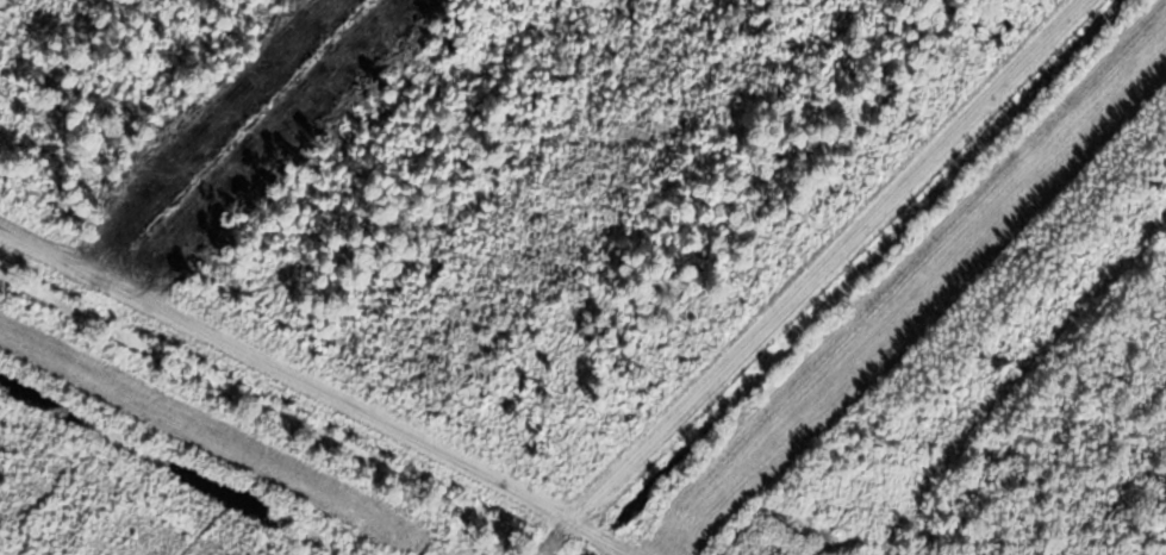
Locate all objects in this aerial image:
road: (813, 280)
road: (313, 400)

